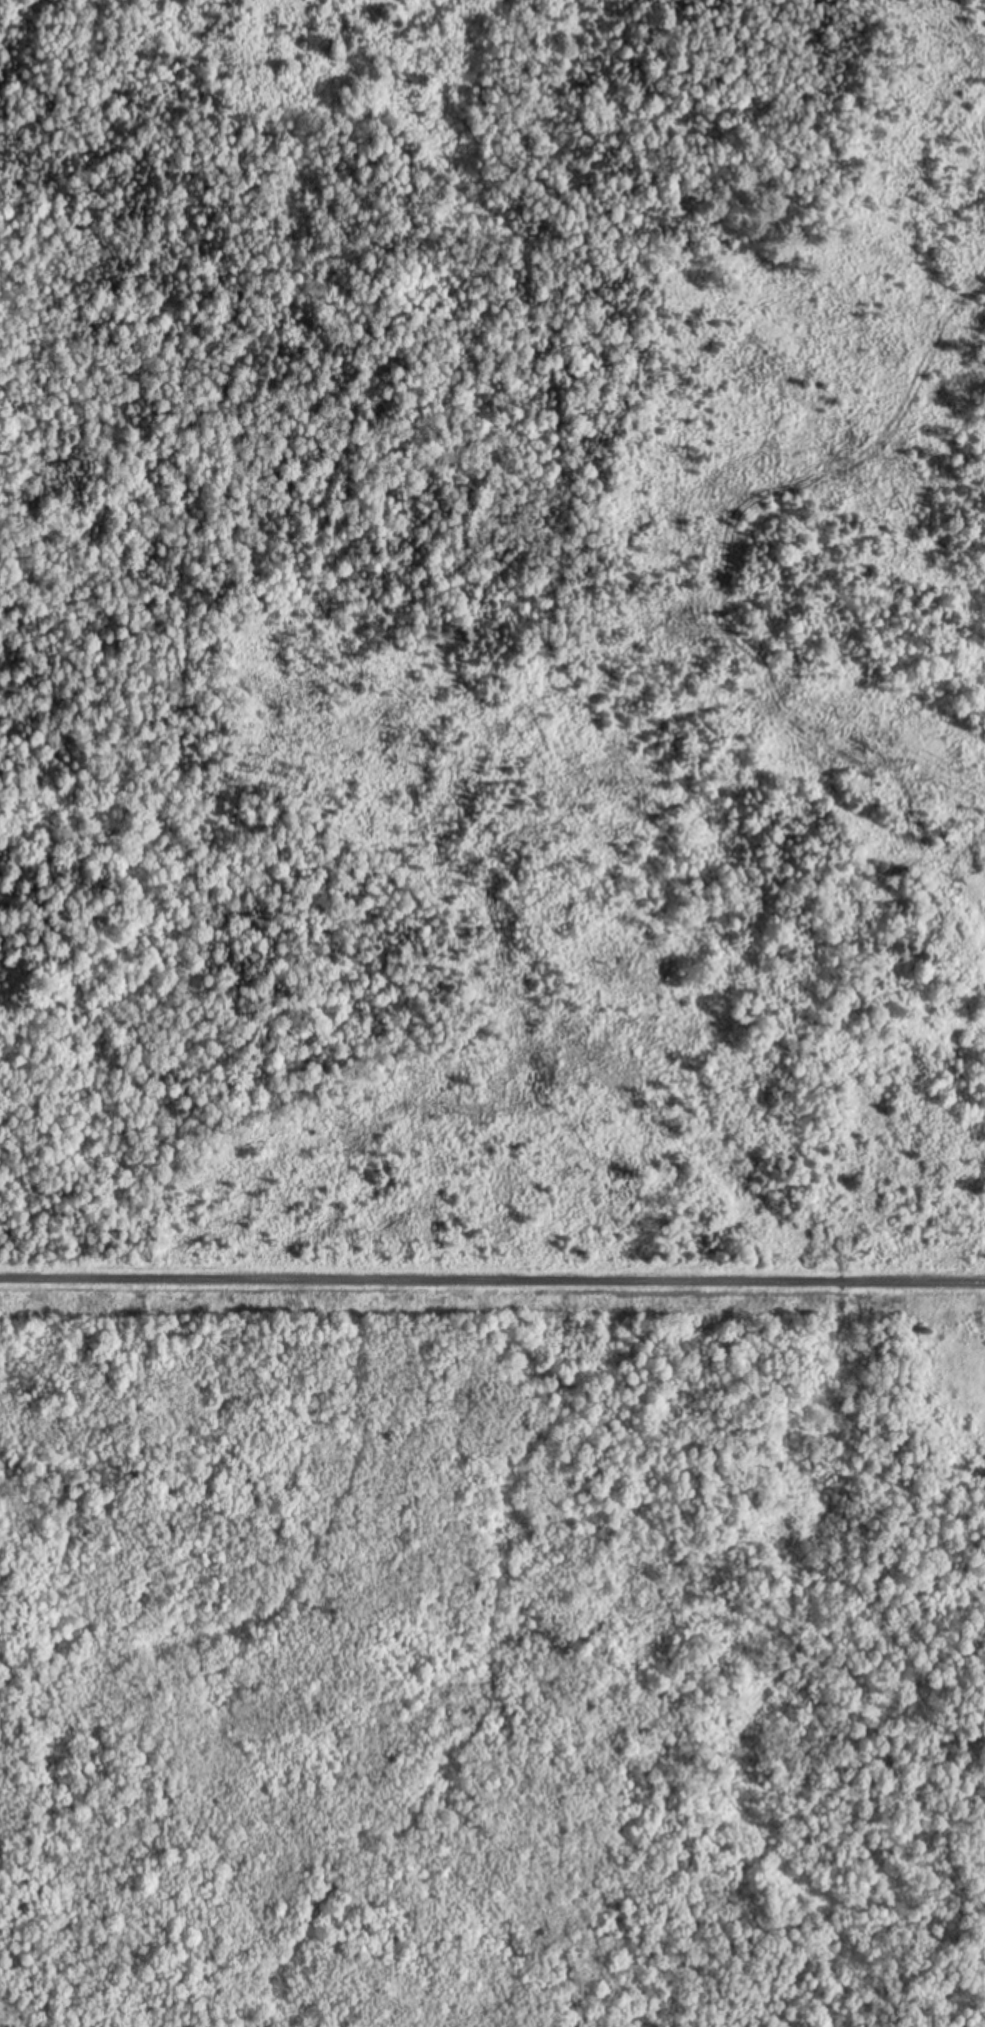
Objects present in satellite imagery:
road: (492, 1285)

